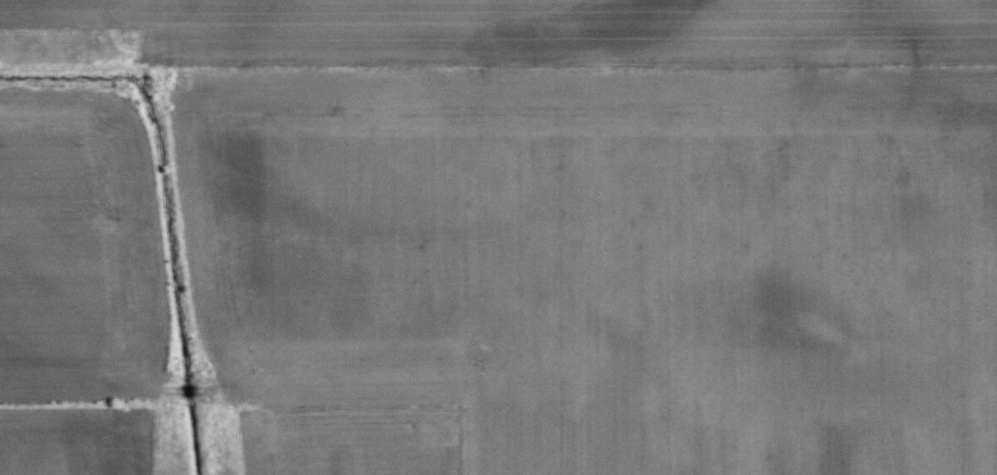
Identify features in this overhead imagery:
crop: (498, 237)

